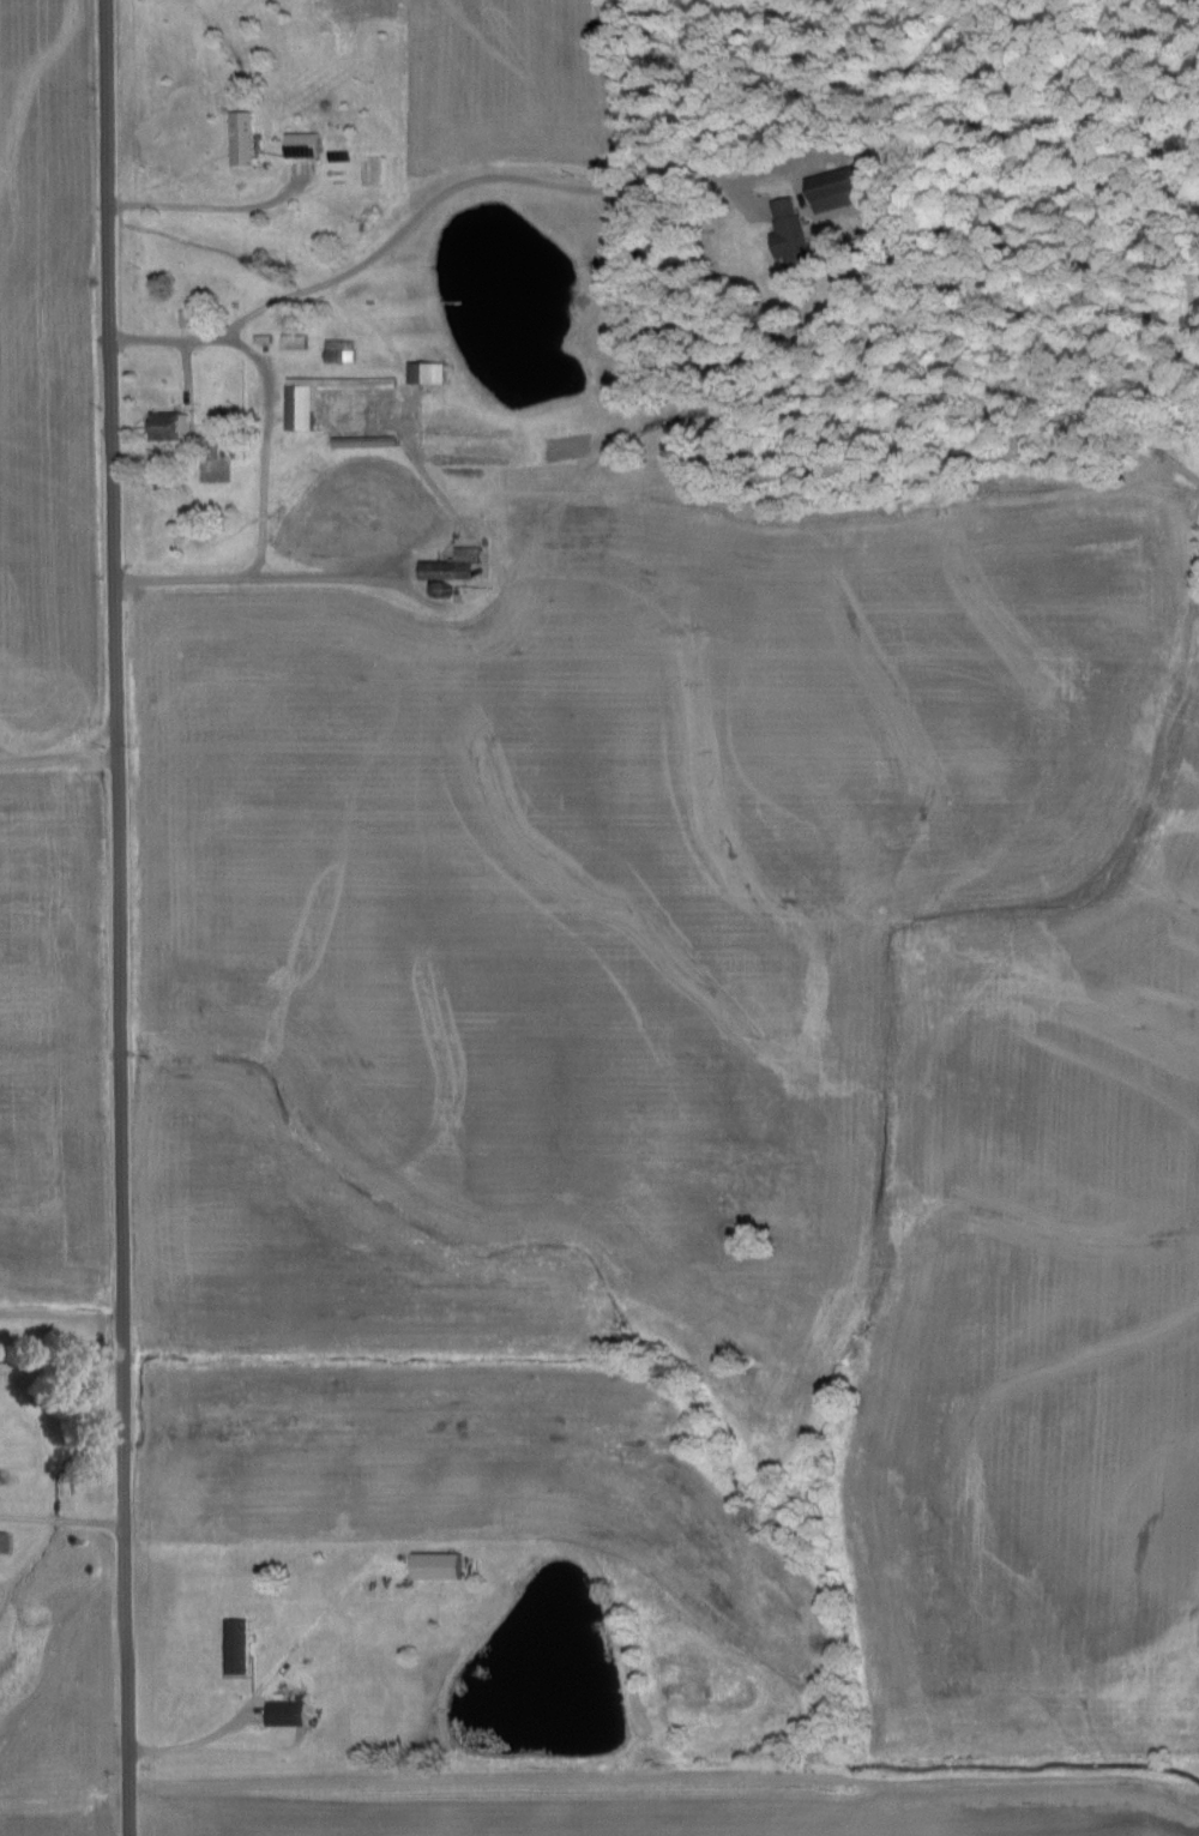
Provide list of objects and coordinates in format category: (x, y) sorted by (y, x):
building: (241, 138)
building: (300, 145)
building: (833, 194)
road: (204, 212)
building: (788, 231)
building: (339, 350)
building: (424, 372)
building: (299, 402)
building: (165, 426)
building: (361, 441)
road: (265, 463)
building: (451, 566)
road: (58, 760)
road: (115, 917)
road: (61, 1523)
building: (2, 1543)
building: (434, 1566)
building: (234, 1647)
building: (285, 1714)
road: (195, 1746)

